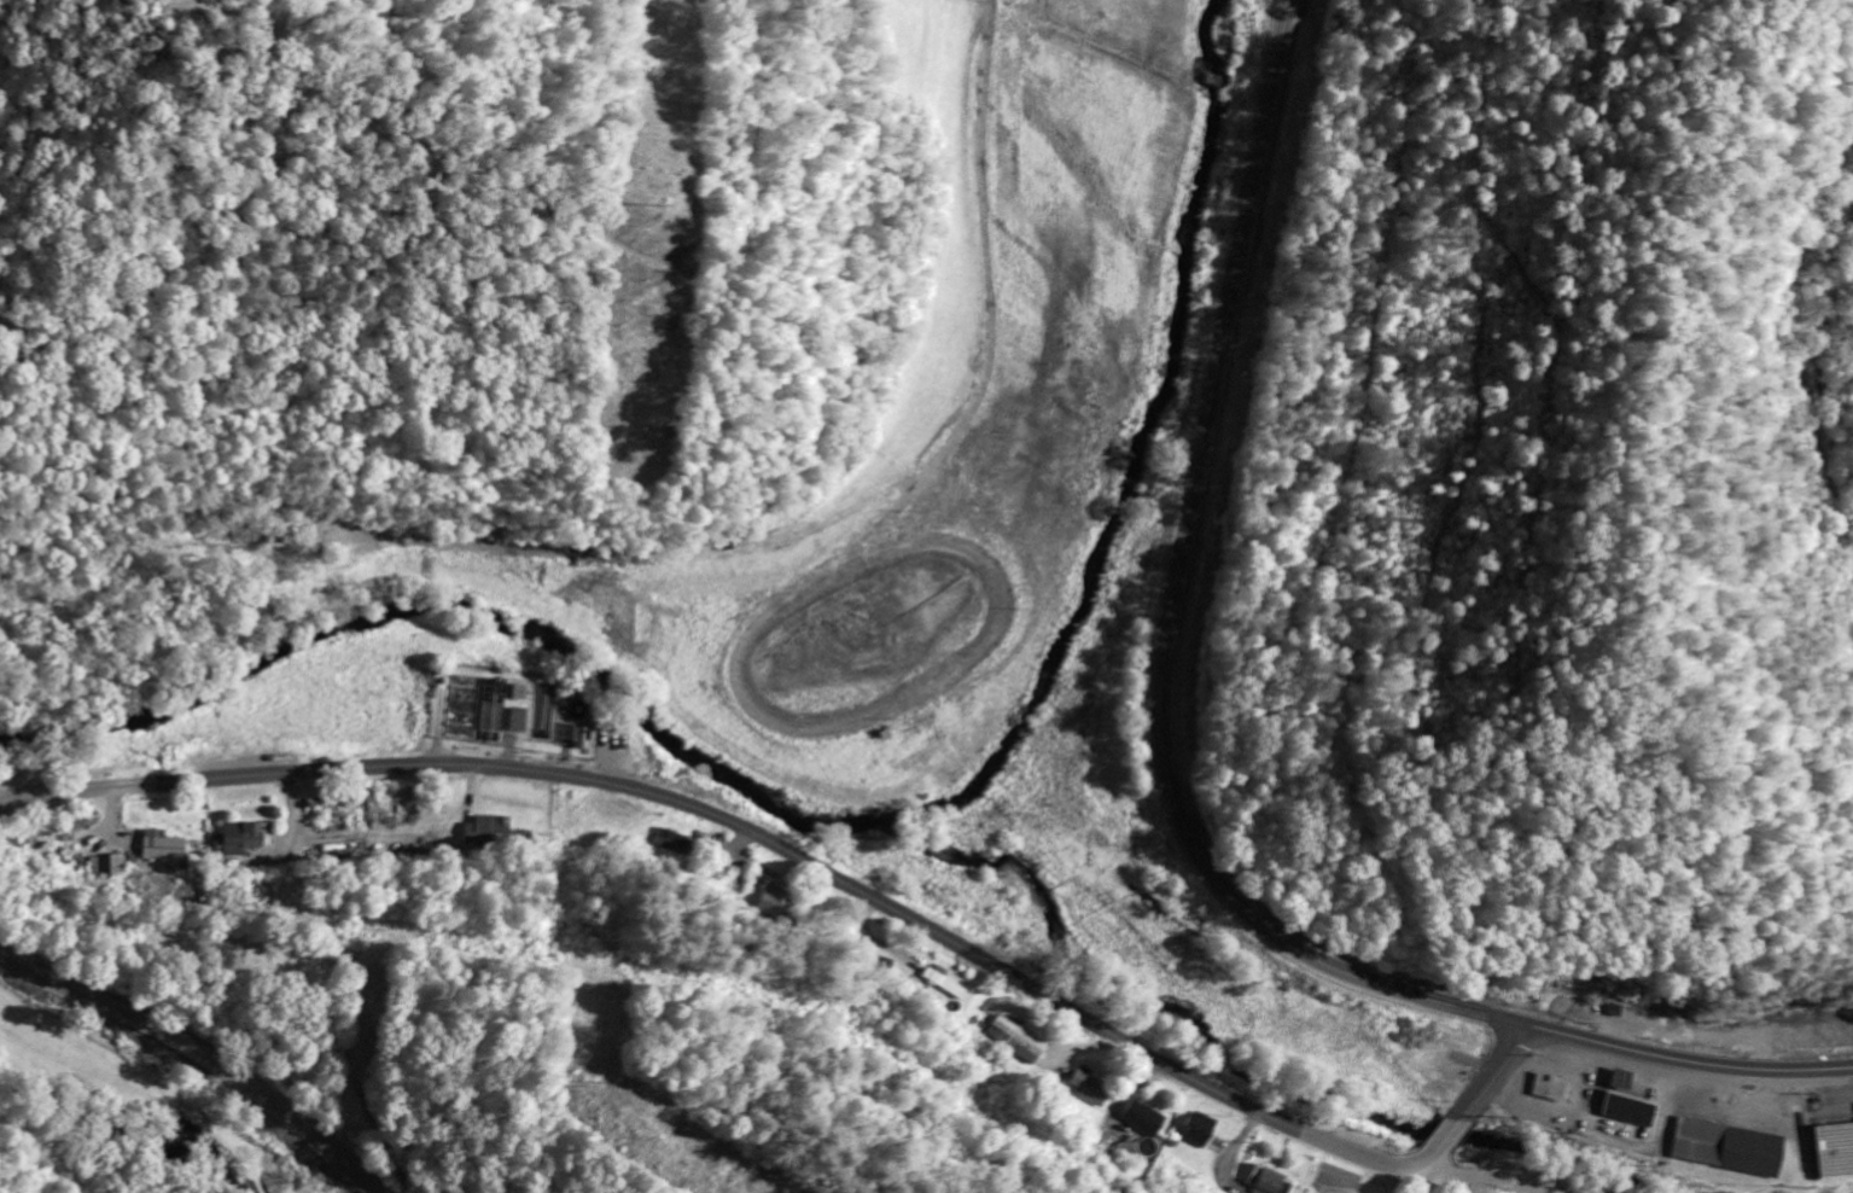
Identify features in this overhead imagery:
road: (987, 273)
road: (1797, 344)
road: (1170, 618)
building: (515, 722)
building: (486, 833)
building: (244, 842)
building: (161, 849)
building: (111, 869)
road: (827, 869)
building: (1013, 1041)
road: (202, 1052)
road: (1691, 1060)
building: (1620, 1082)
gas station: (1620, 1082)
building: (1548, 1090)
building: (1626, 1112)
building: (1140, 1121)
building: (1195, 1131)
building: (1696, 1142)
building: (1834, 1151)
road: (1480, 1176)
building: (1265, 1183)

